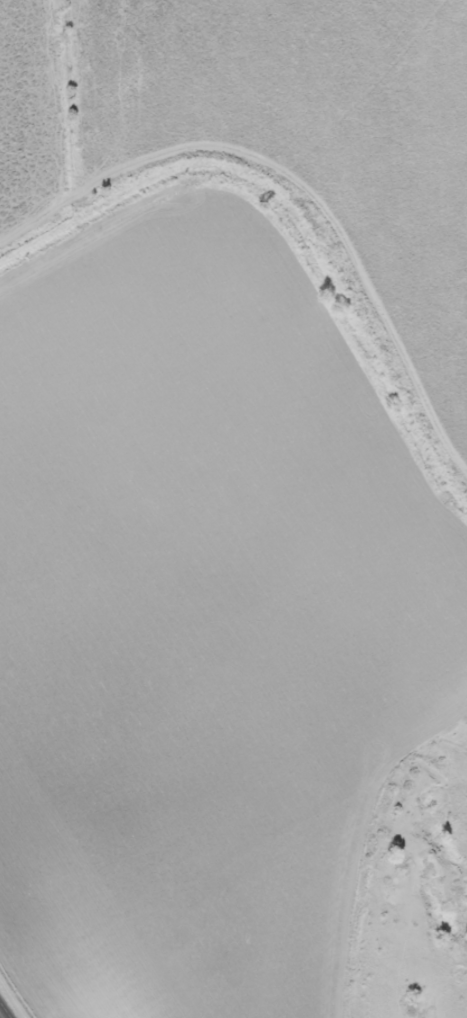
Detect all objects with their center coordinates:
road: (3, 1012)

